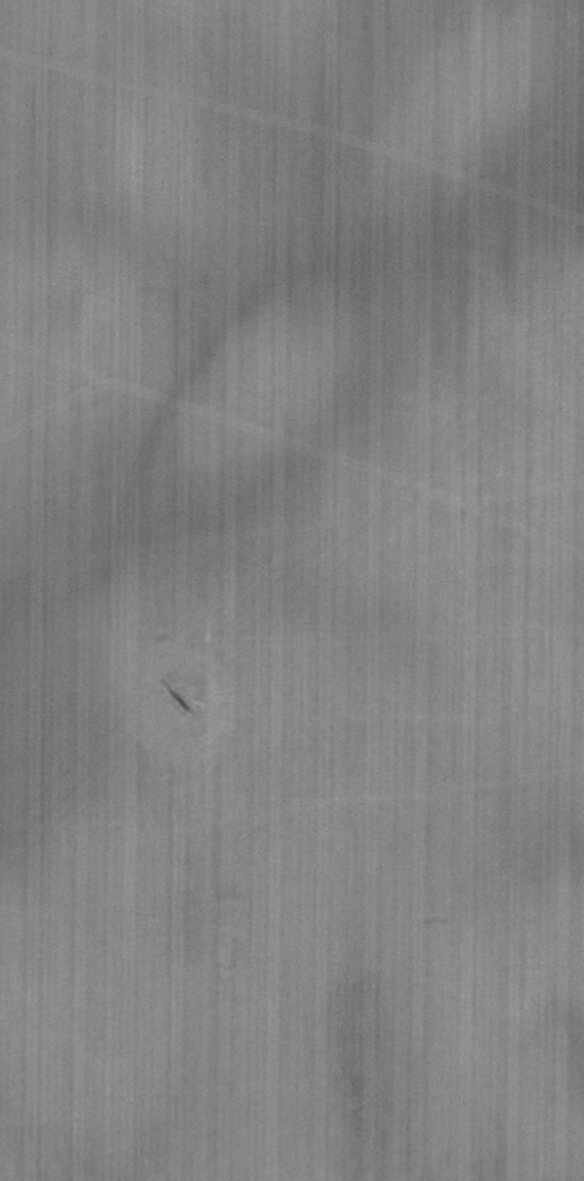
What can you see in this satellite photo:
power tower: (182, 703)

